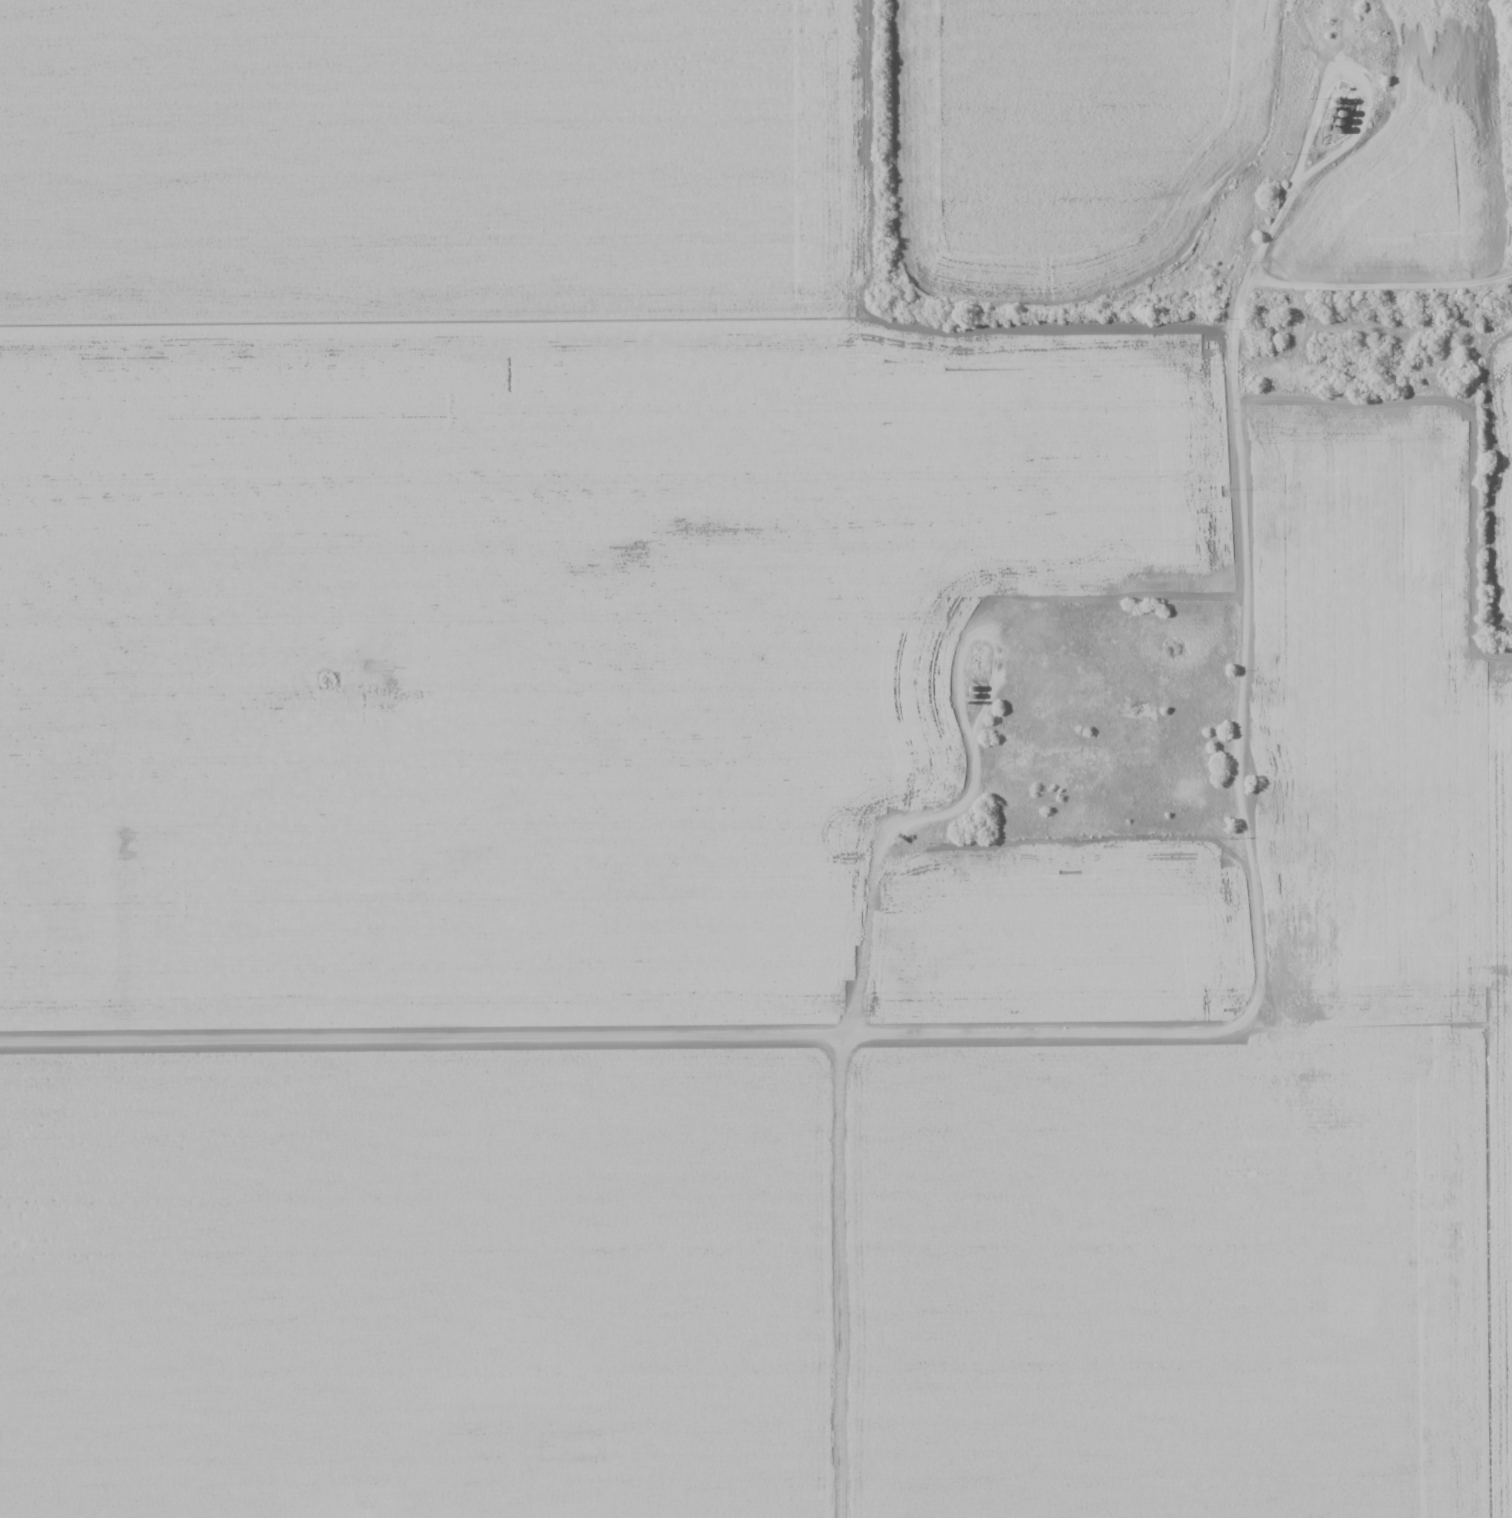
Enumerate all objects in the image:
road: (1123, 1031)
road: (845, 1049)

